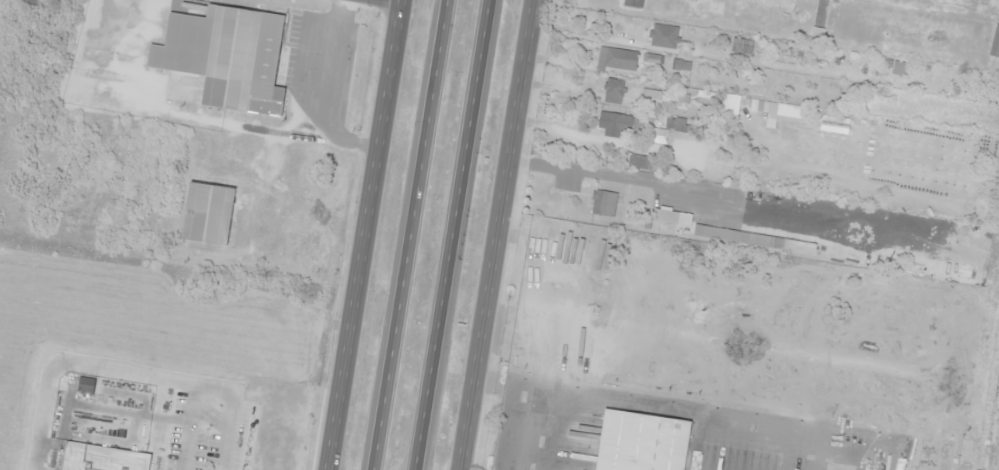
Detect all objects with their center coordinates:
road: (403, 0)
building: (632, 3)
building: (715, 6)
building: (639, 30)
building: (994, 43)
building: (226, 56)
building: (616, 59)
building: (680, 66)
building: (613, 91)
building: (615, 123)
building: (679, 125)
building: (639, 162)
road: (464, 165)
building: (603, 203)
building: (207, 213)
road: (412, 234)
road: (498, 234)
road: (368, 235)
building: (558, 264)
building: (611, 362)
road: (427, 400)
building: (640, 442)
building: (102, 458)

